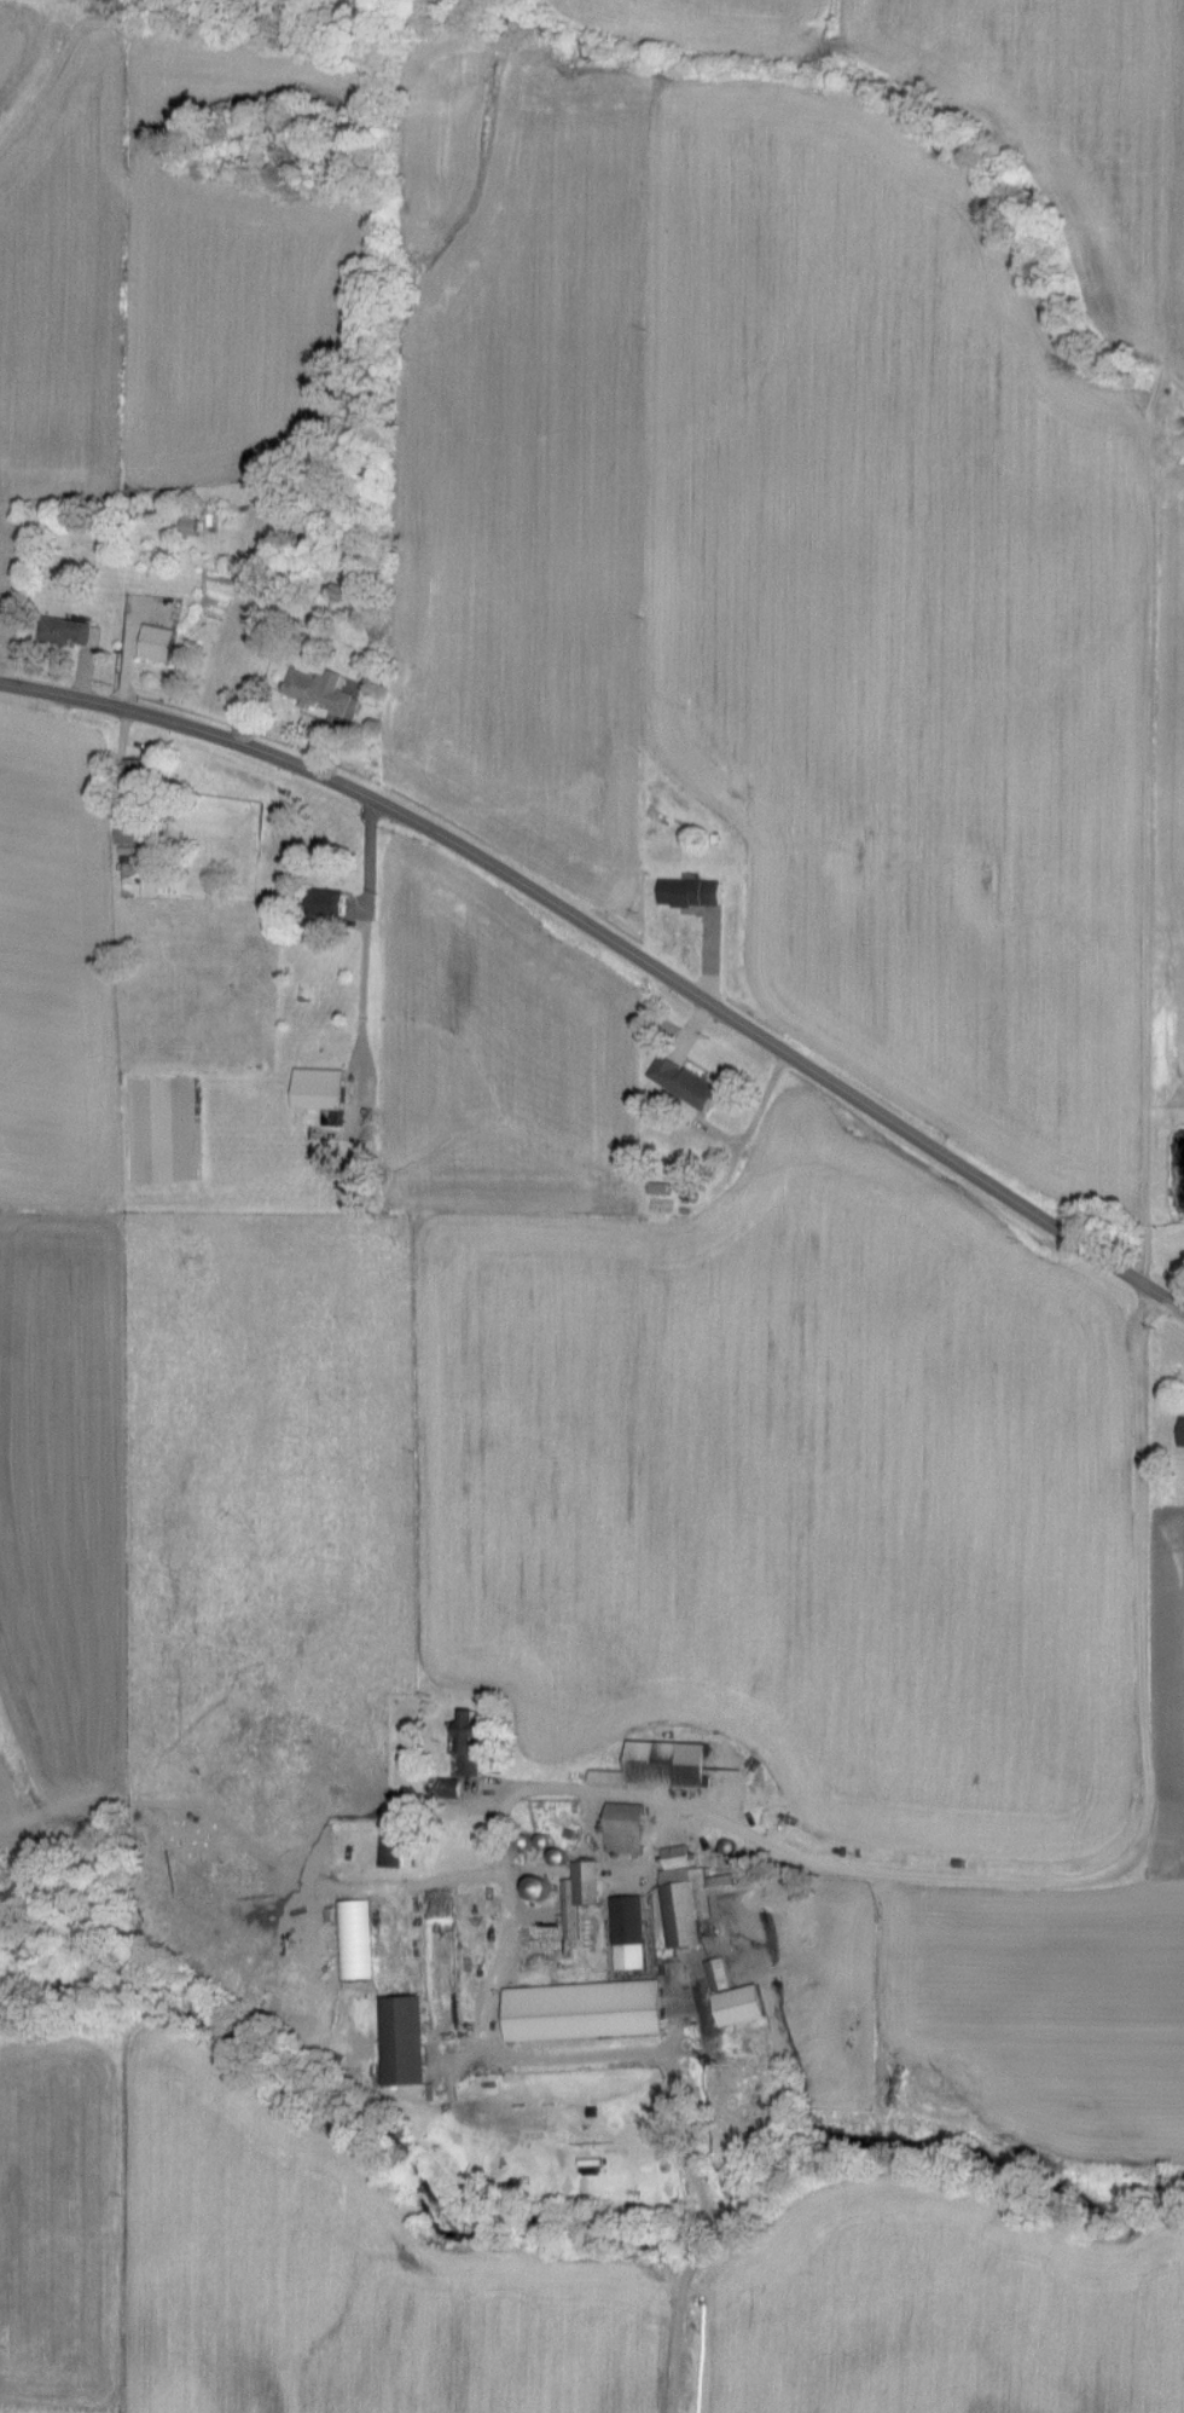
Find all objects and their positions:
building: (192, 523)
building: (362, 585)
building: (72, 633)
building: (161, 643)
building: (325, 693)
building: (140, 775)
building: (132, 835)
building: (693, 892)
building: (331, 903)
road: (368, 930)
road: (616, 942)
building: (690, 1083)
building: (323, 1093)
road: (1179, 1303)
building: (1183, 1440)
building: (476, 1743)
building: (673, 1764)
building: (628, 1828)
building: (395, 1848)
road: (1083, 1876)
building: (591, 1882)
building: (542, 1888)
building: (695, 1896)
building: (633, 1934)
building: (356, 1940)
building: (744, 2007)
building: (588, 2012)
building: (408, 2042)

